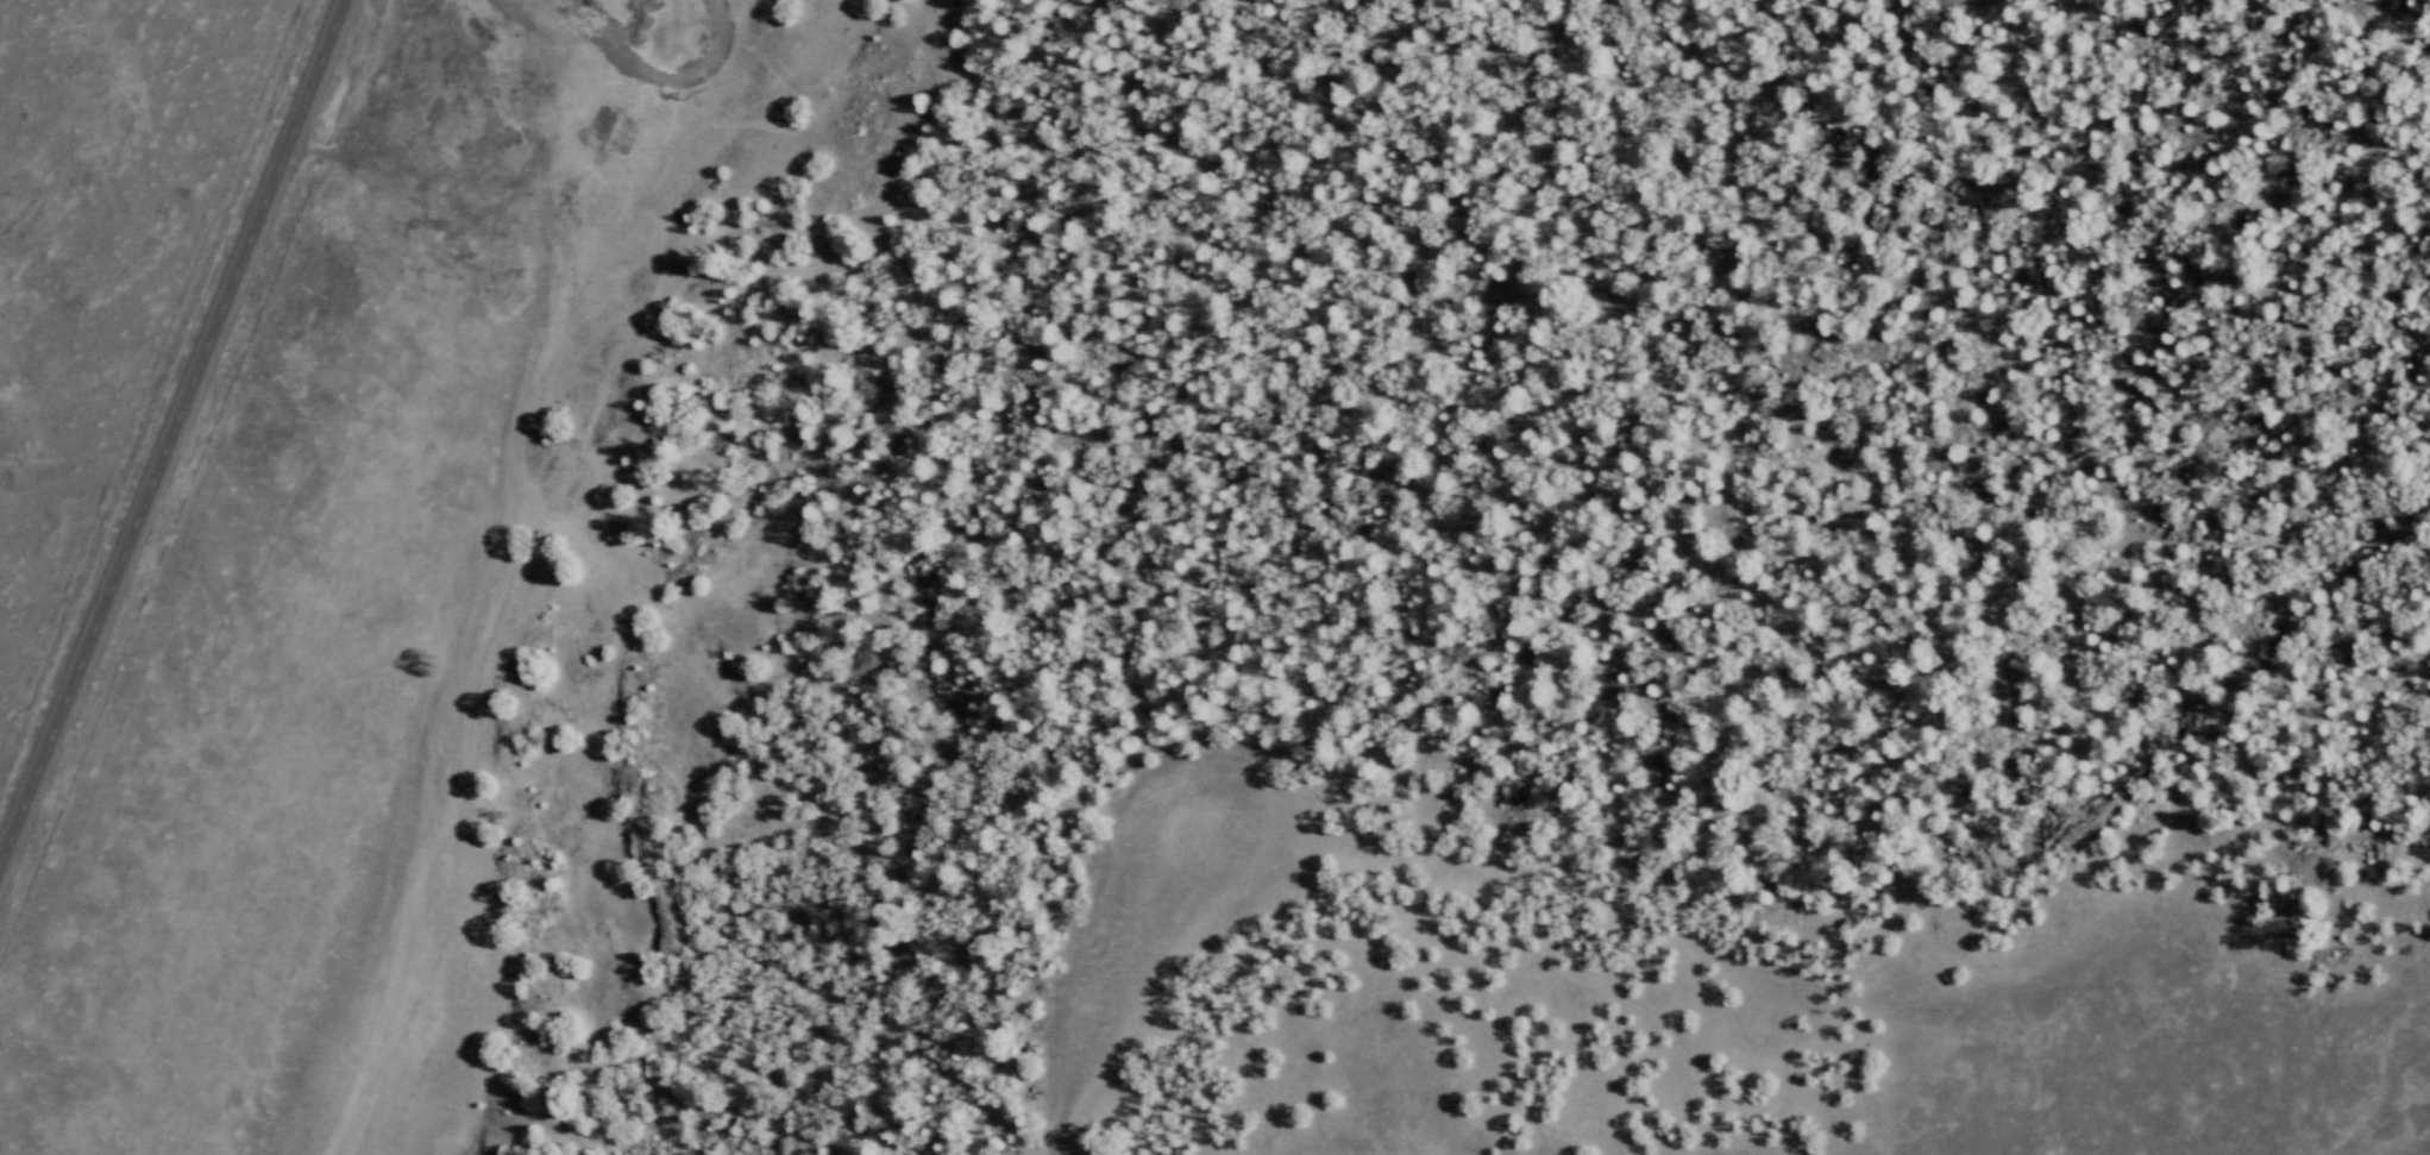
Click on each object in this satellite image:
road: (163, 413)

